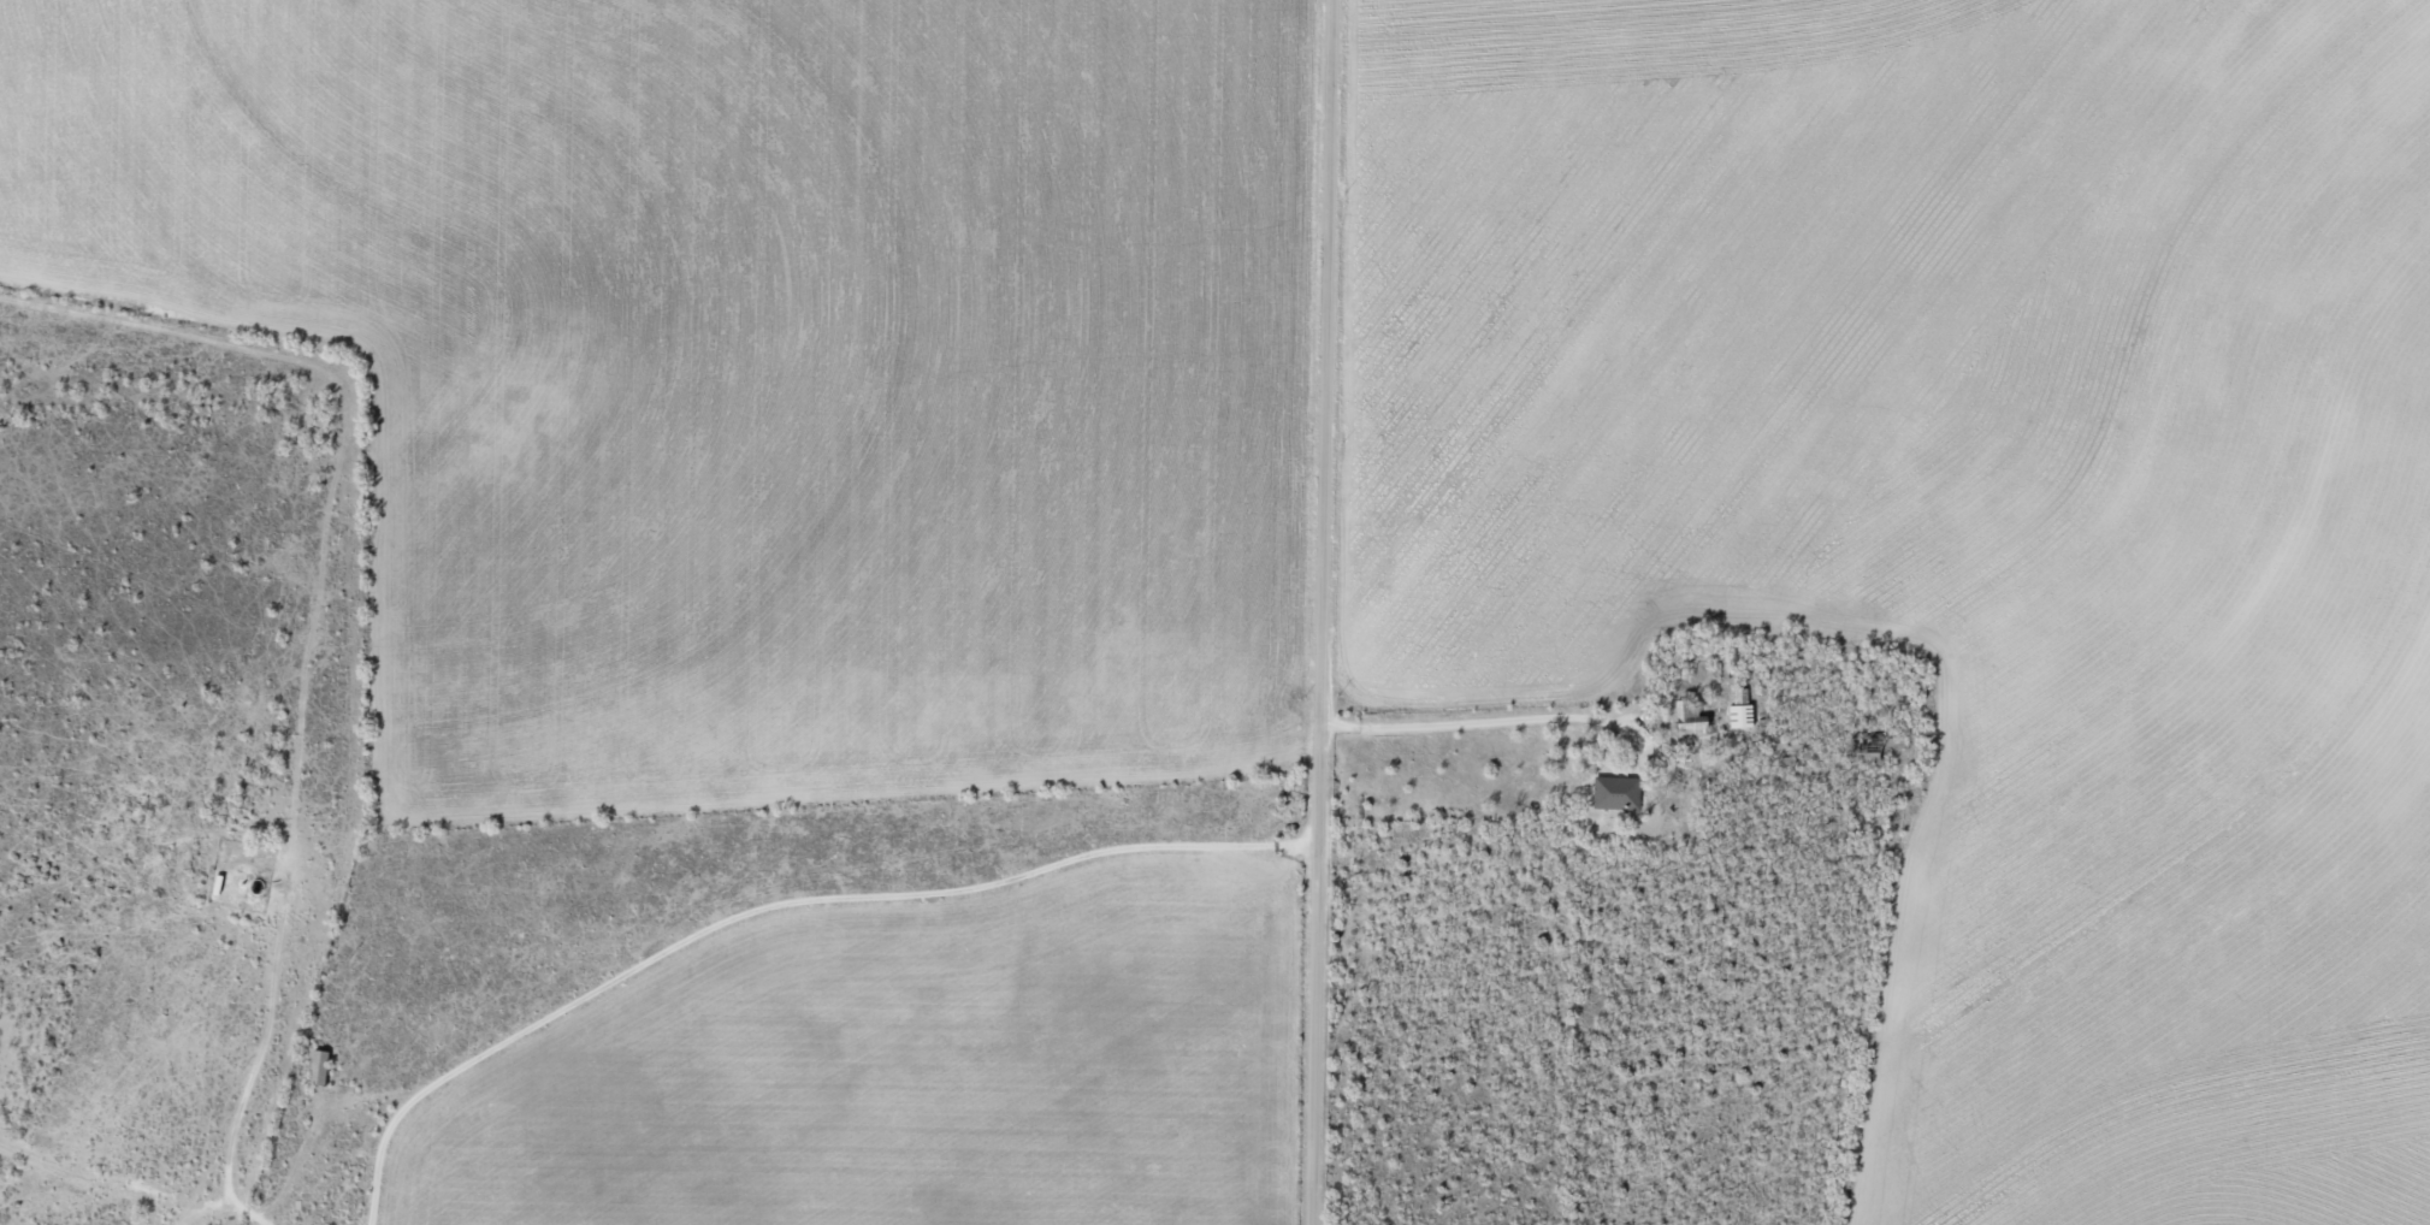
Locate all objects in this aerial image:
road: (1360, 612)
road: (1550, 727)
building: (1618, 793)
road: (132, 1178)

